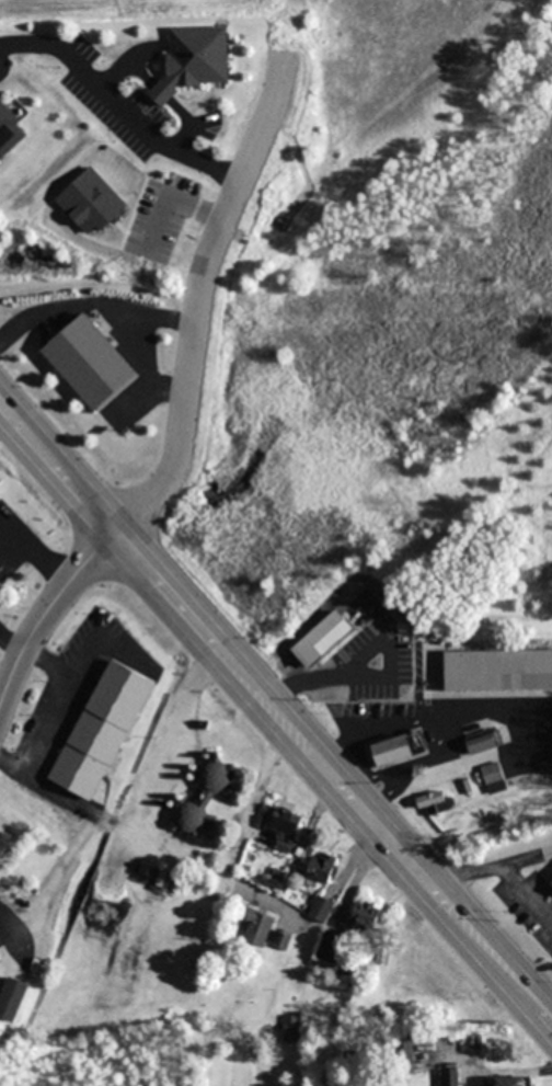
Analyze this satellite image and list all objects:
crop: (127, 9)
building: (193, 60)
road: (116, 106)
building: (10, 132)
building: (90, 362)
road: (177, 399)
building: (354, 668)
building: (498, 671)
road: (276, 693)
building: (102, 730)
road: (275, 736)
building: (480, 741)
building: (399, 748)
building: (492, 773)
building: (204, 798)
building: (432, 802)
building: (286, 828)
building: (321, 867)
building: (551, 882)
building: (321, 910)
building: (365, 914)
building: (264, 933)
building: (330, 947)
building: (0, 960)
building: (12, 998)
building: (291, 1028)
building: (404, 1052)
building: (450, 1077)
building: (510, 1081)

